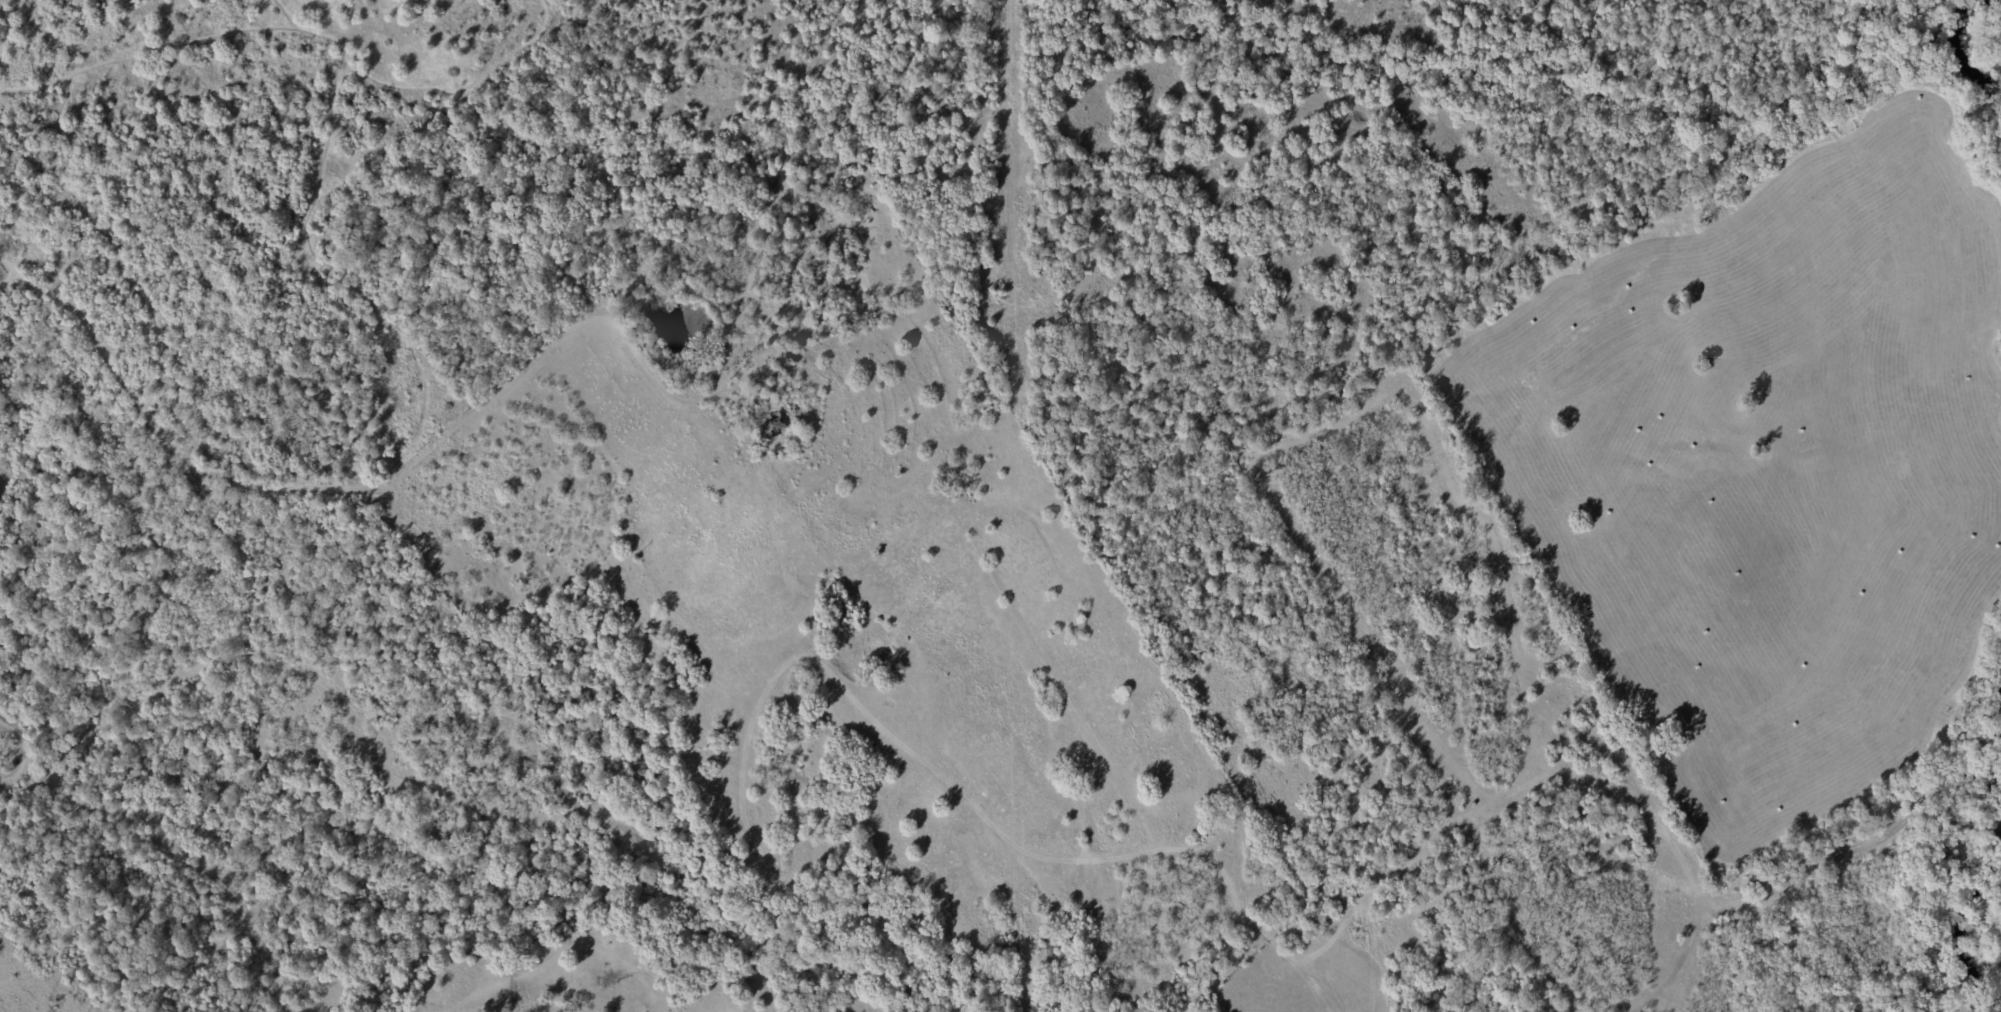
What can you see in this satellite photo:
road: (359, 485)

